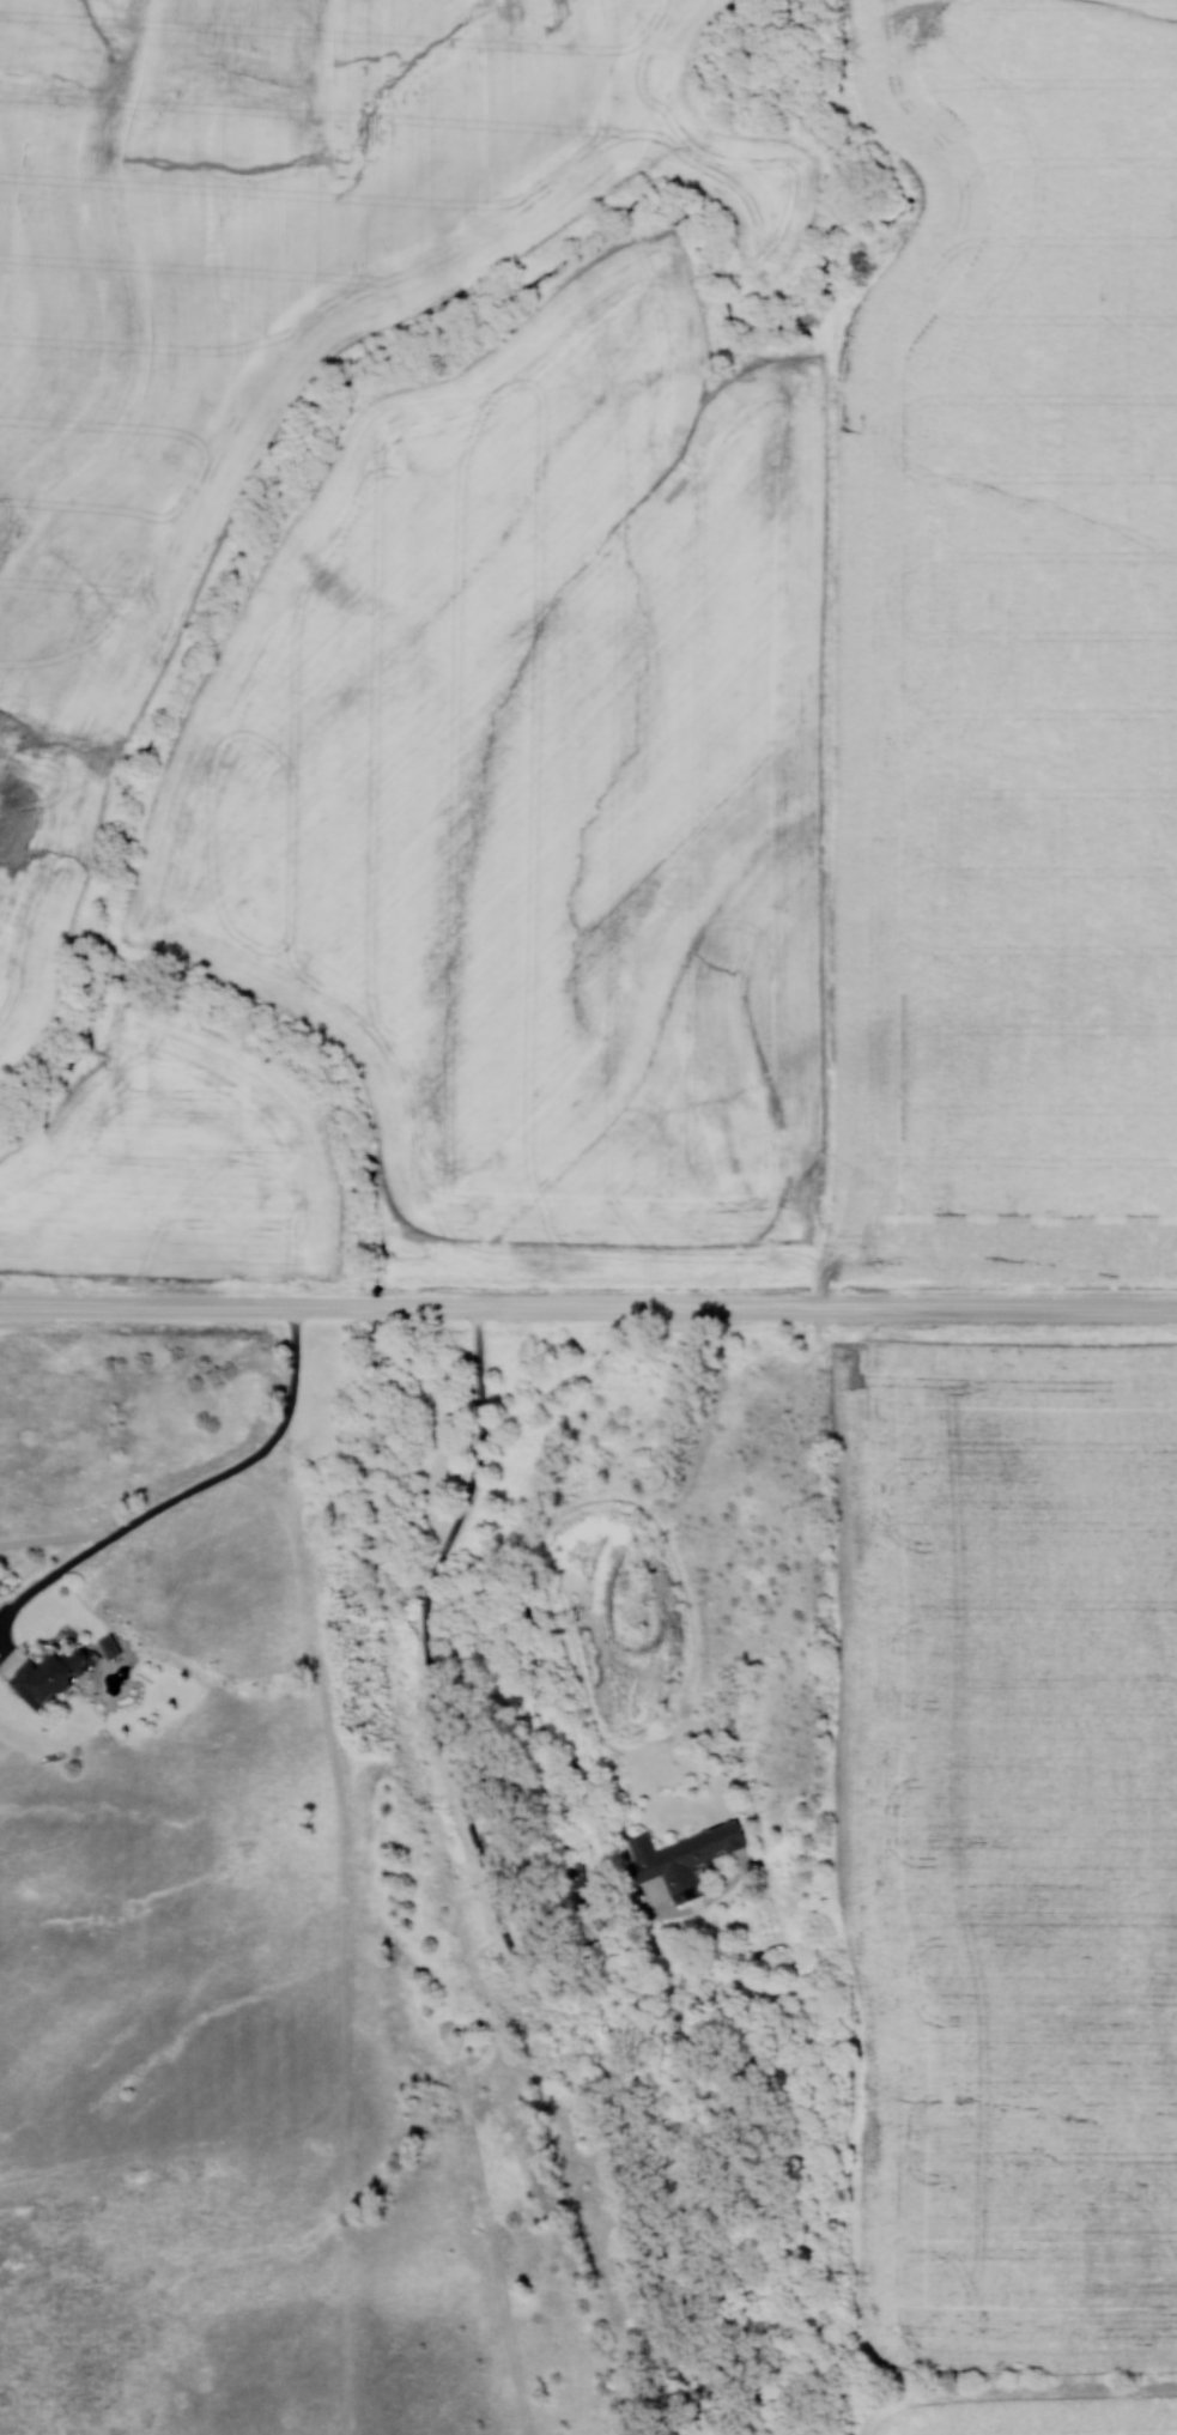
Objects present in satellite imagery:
crop: (261, 305)
crop: (1012, 658)
crop: (540, 782)
crop: (177, 1164)
road: (588, 1308)
road: (176, 1498)
building: (45, 1673)
road: (442, 1718)
building: (681, 1856)
crop: (1041, 2417)

